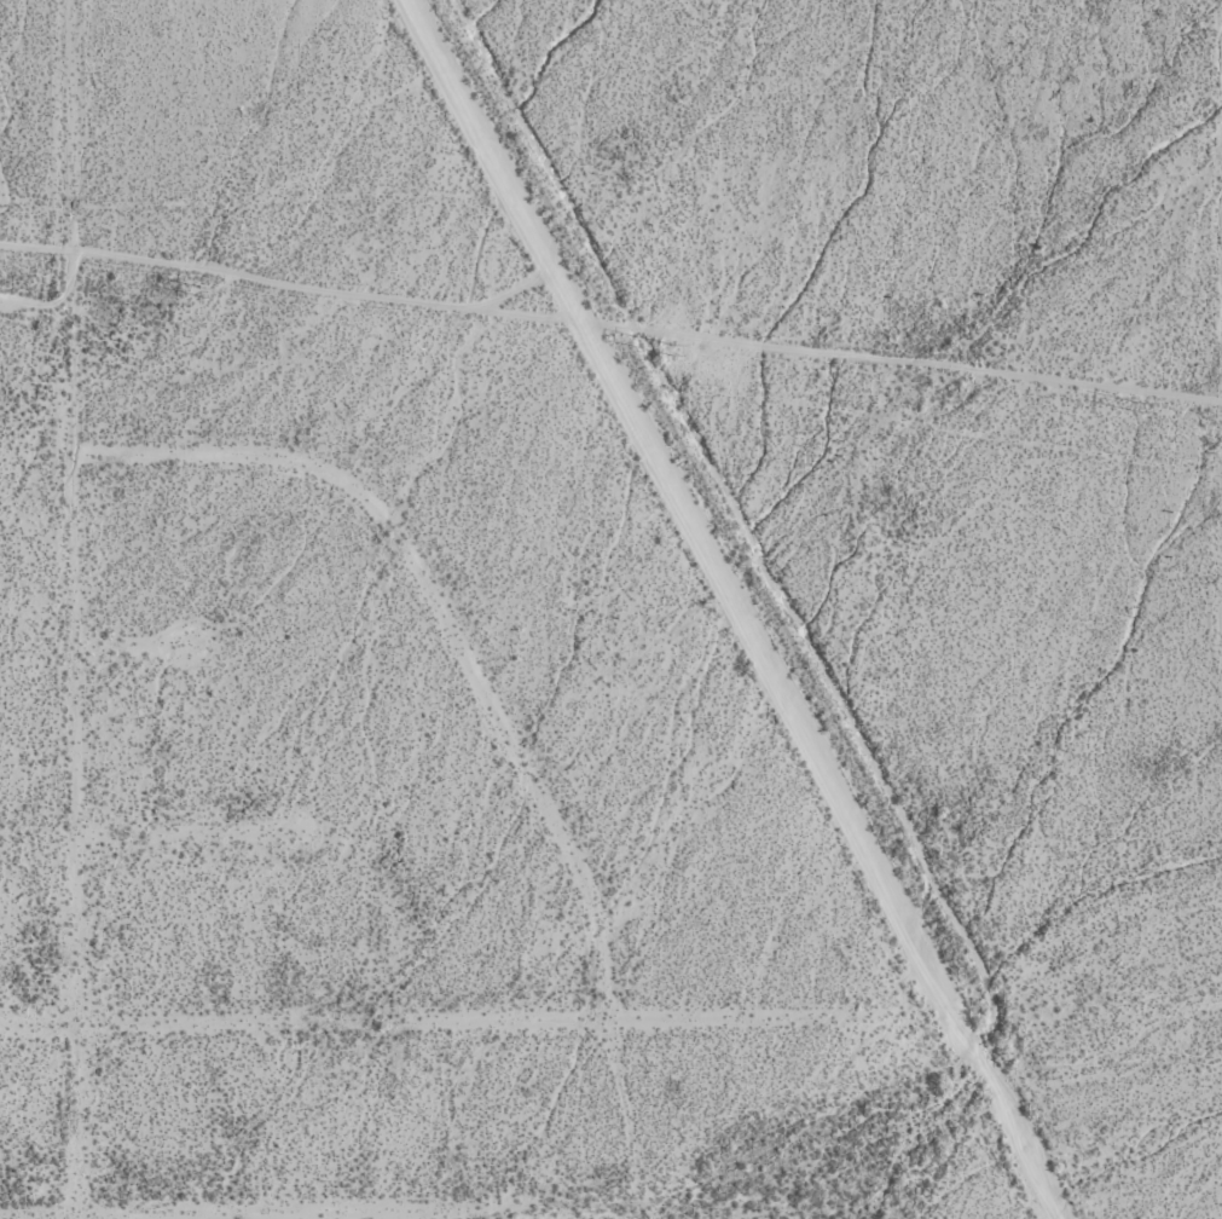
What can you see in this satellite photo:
road: (37, 300)
road: (609, 325)
road: (77, 608)
road: (732, 608)
road: (137, 646)
road: (490, 706)
road: (191, 833)
road: (417, 1018)
road: (1131, 1133)
road: (318, 1208)

